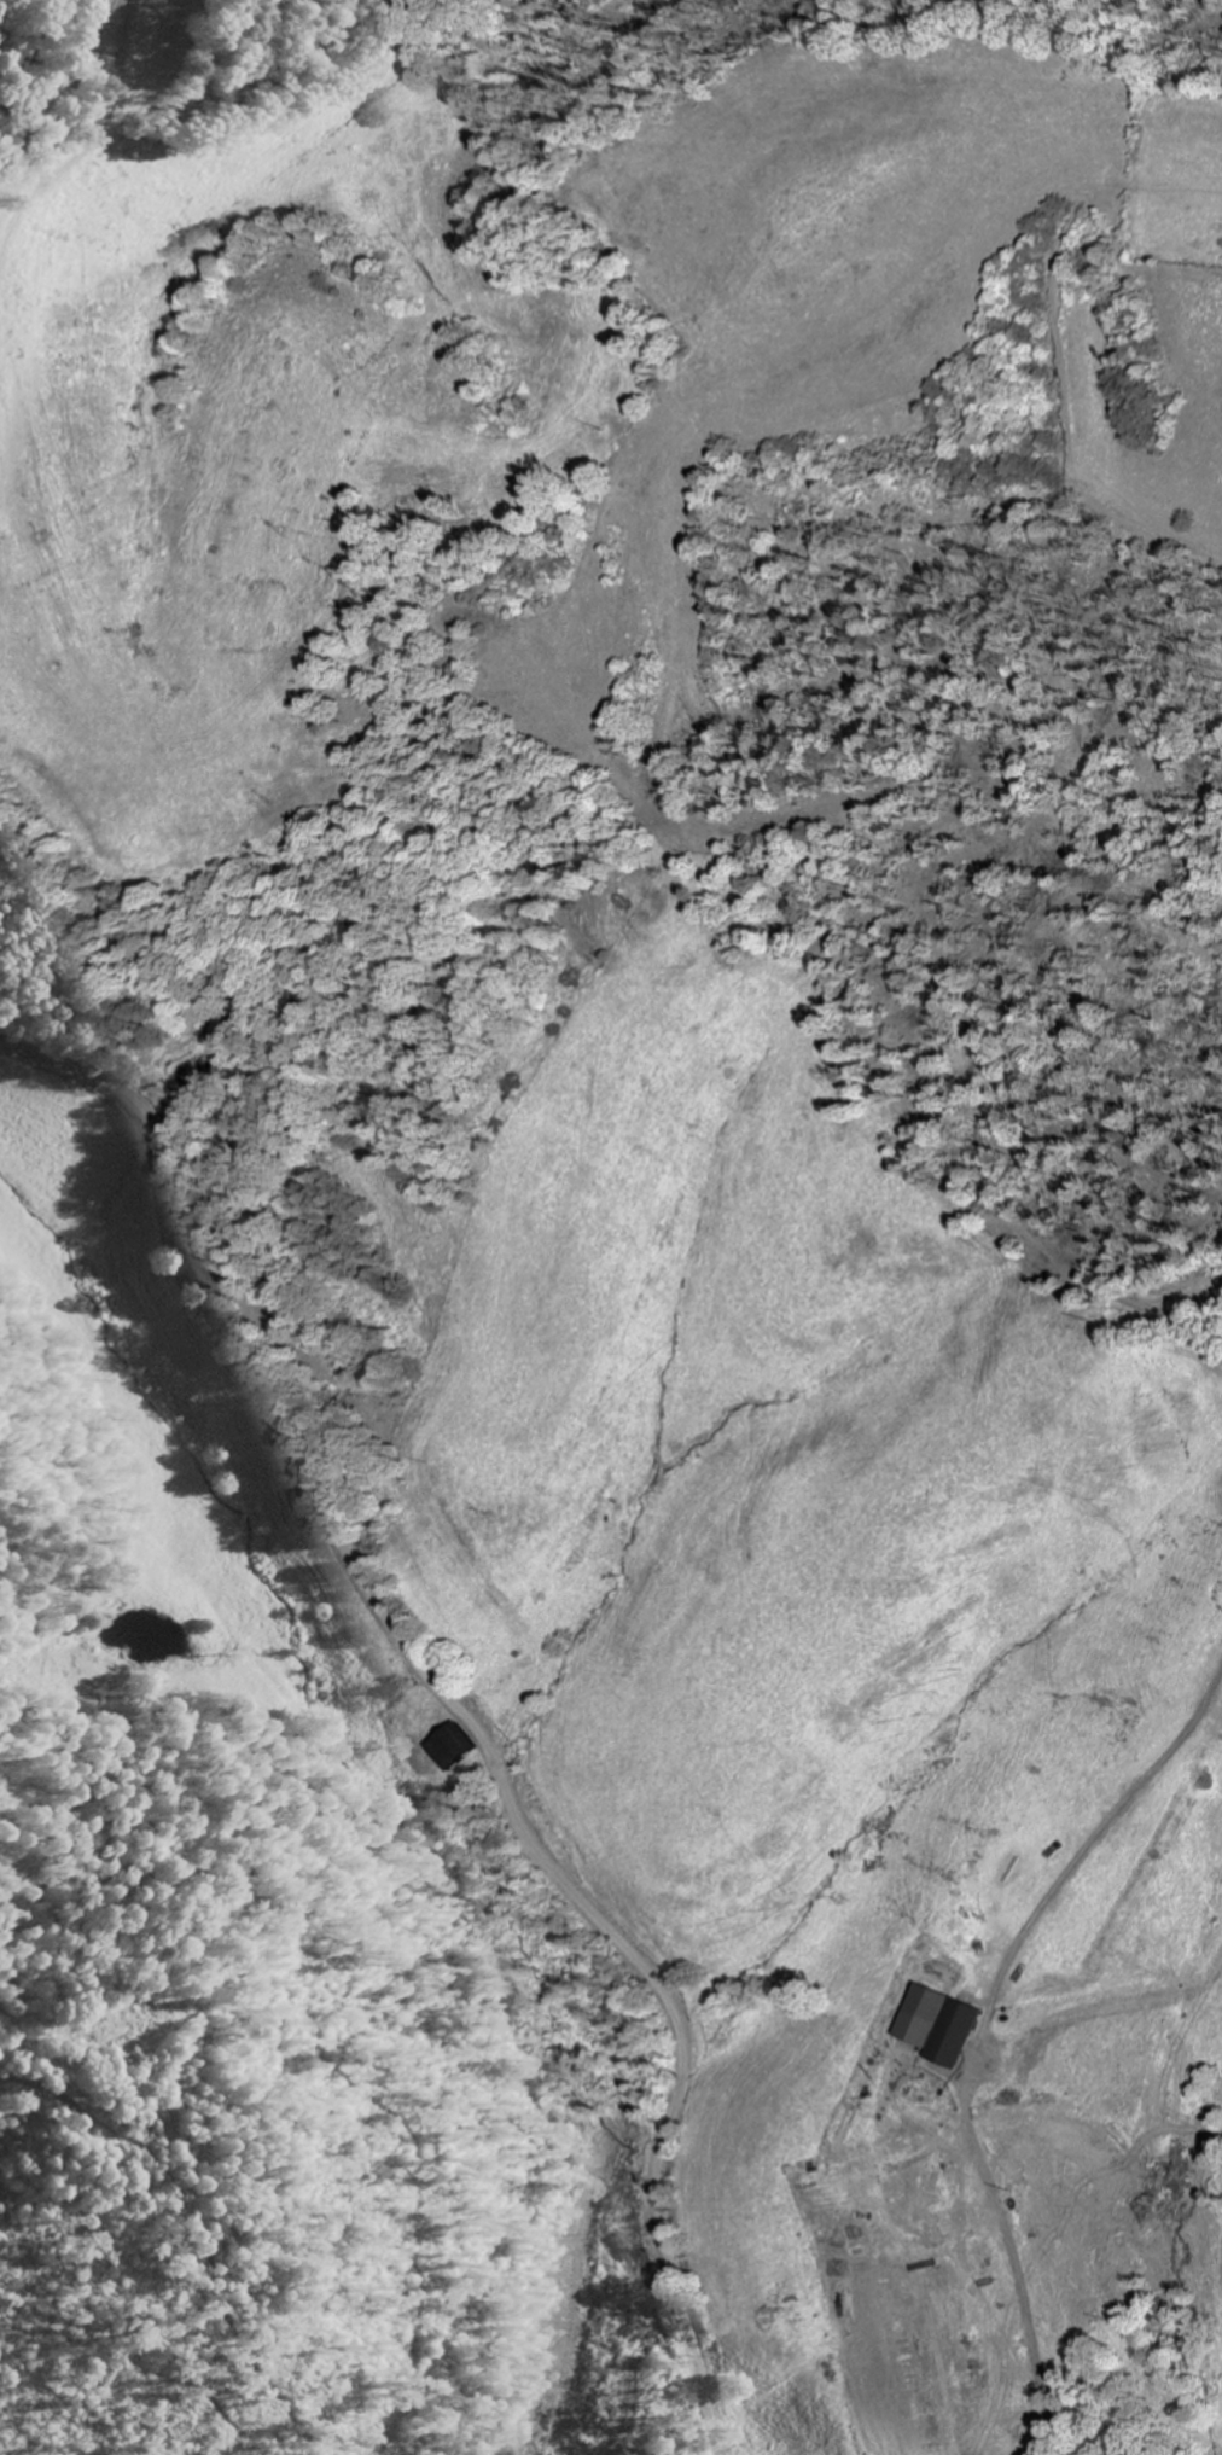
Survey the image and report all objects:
road: (76, 72)
road: (431, 1682)
building: (456, 1746)
building: (943, 2025)
road: (1043, 2137)

